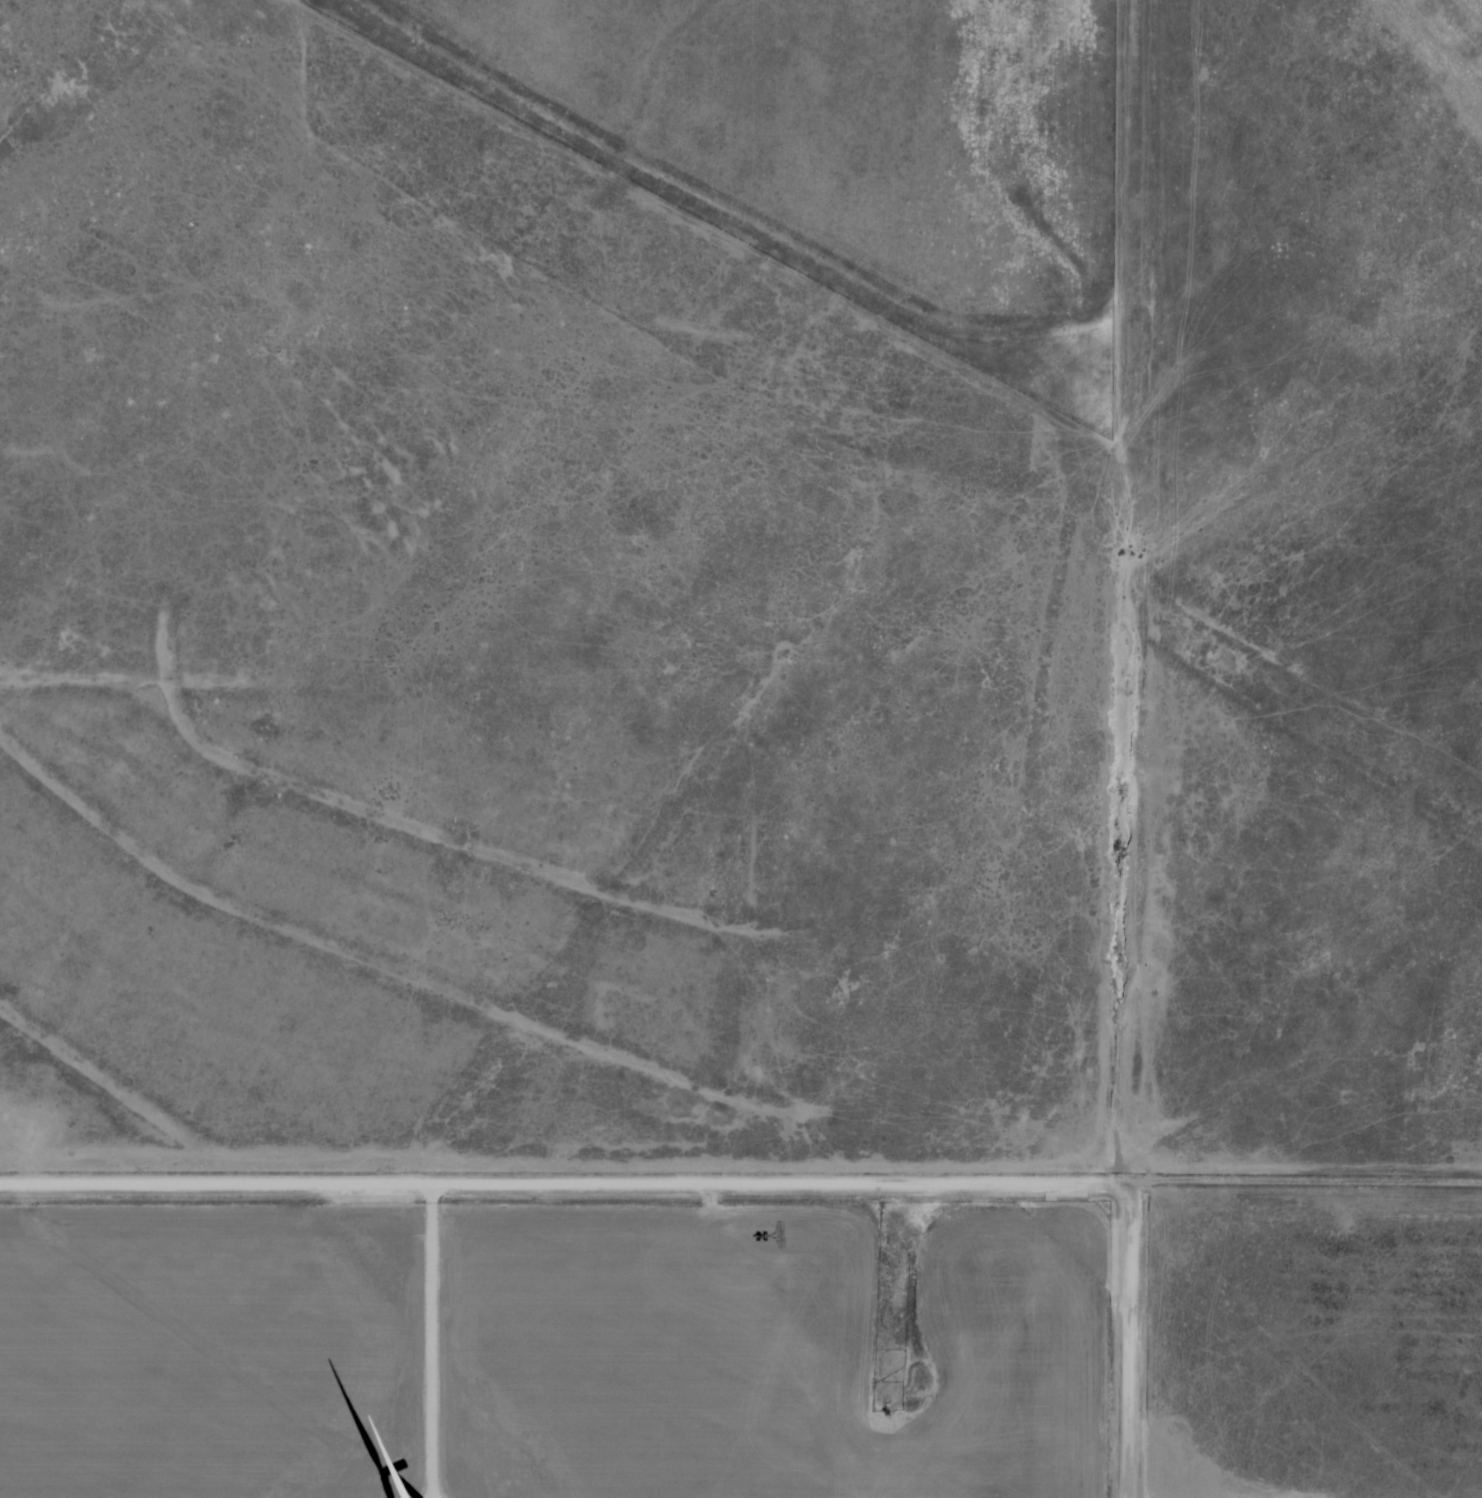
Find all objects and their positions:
road: (741, 1183)
road: (434, 1337)
road: (1129, 1341)

